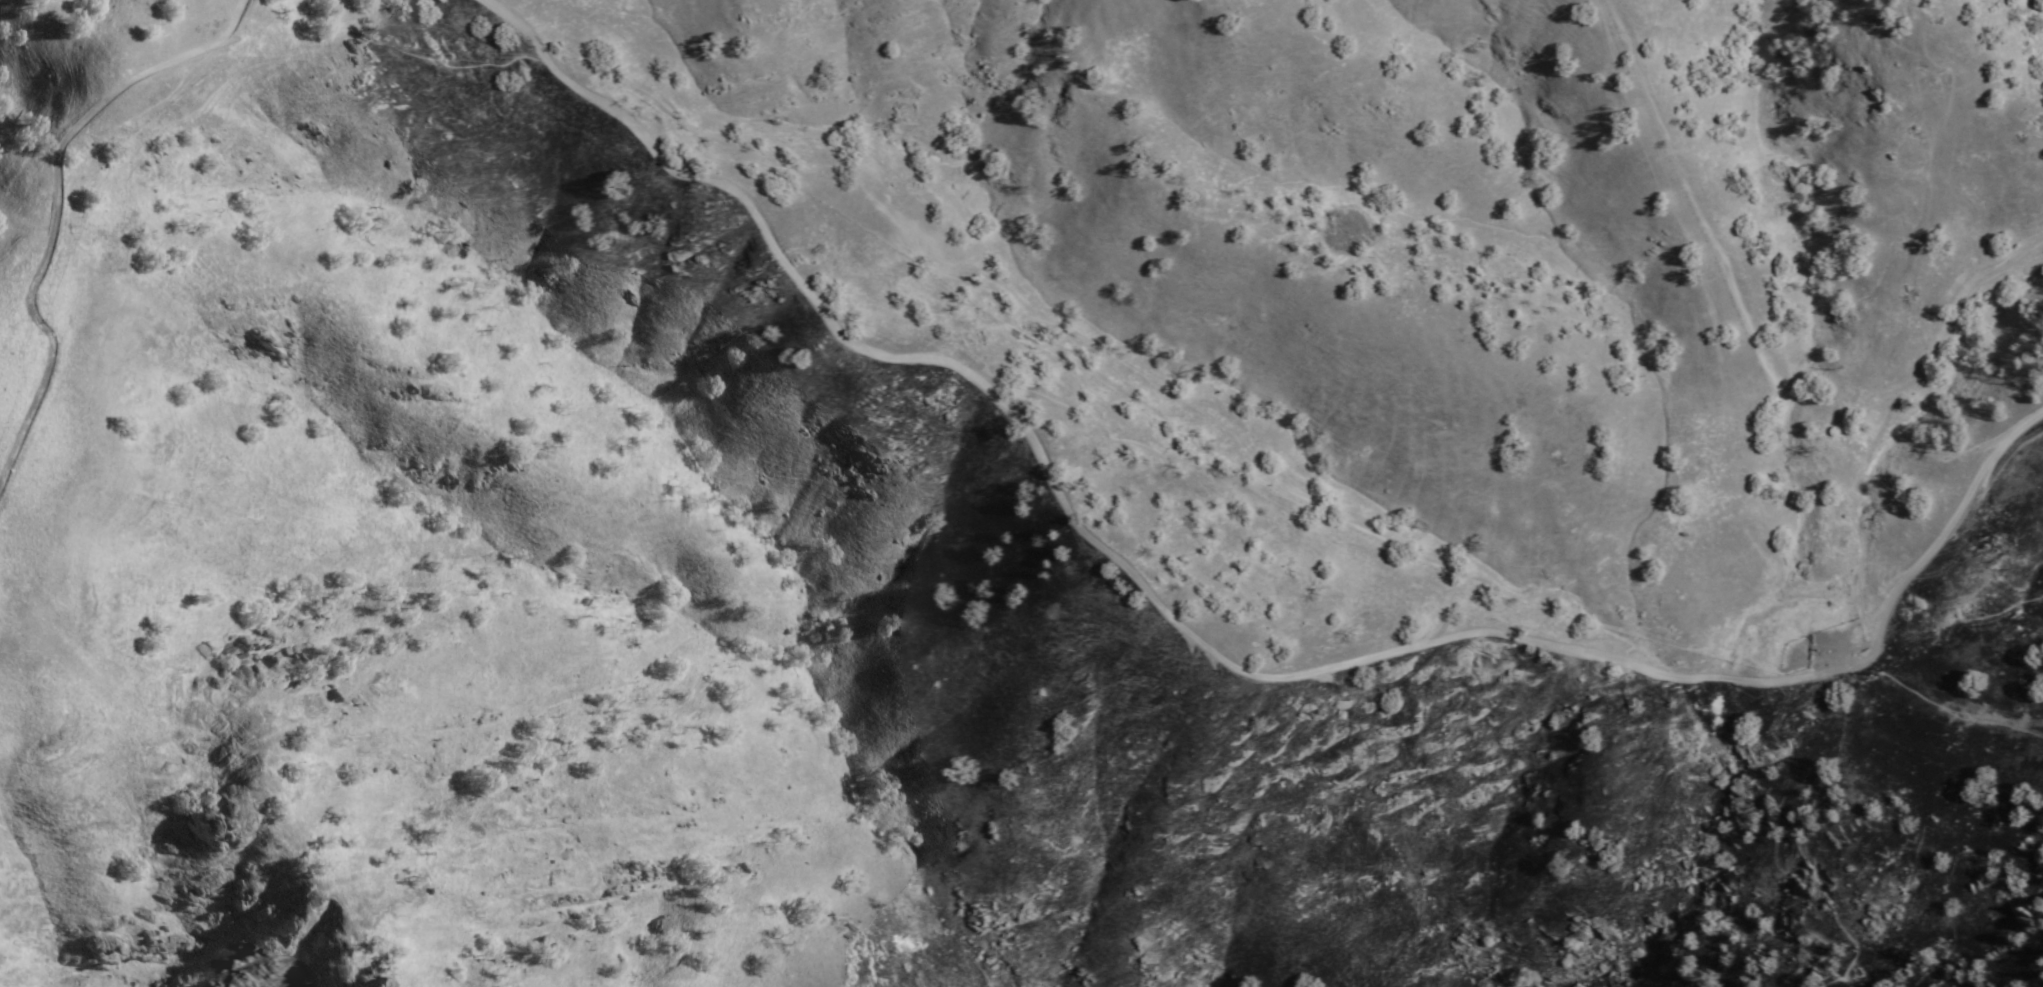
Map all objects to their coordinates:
road: (1921, 517)

